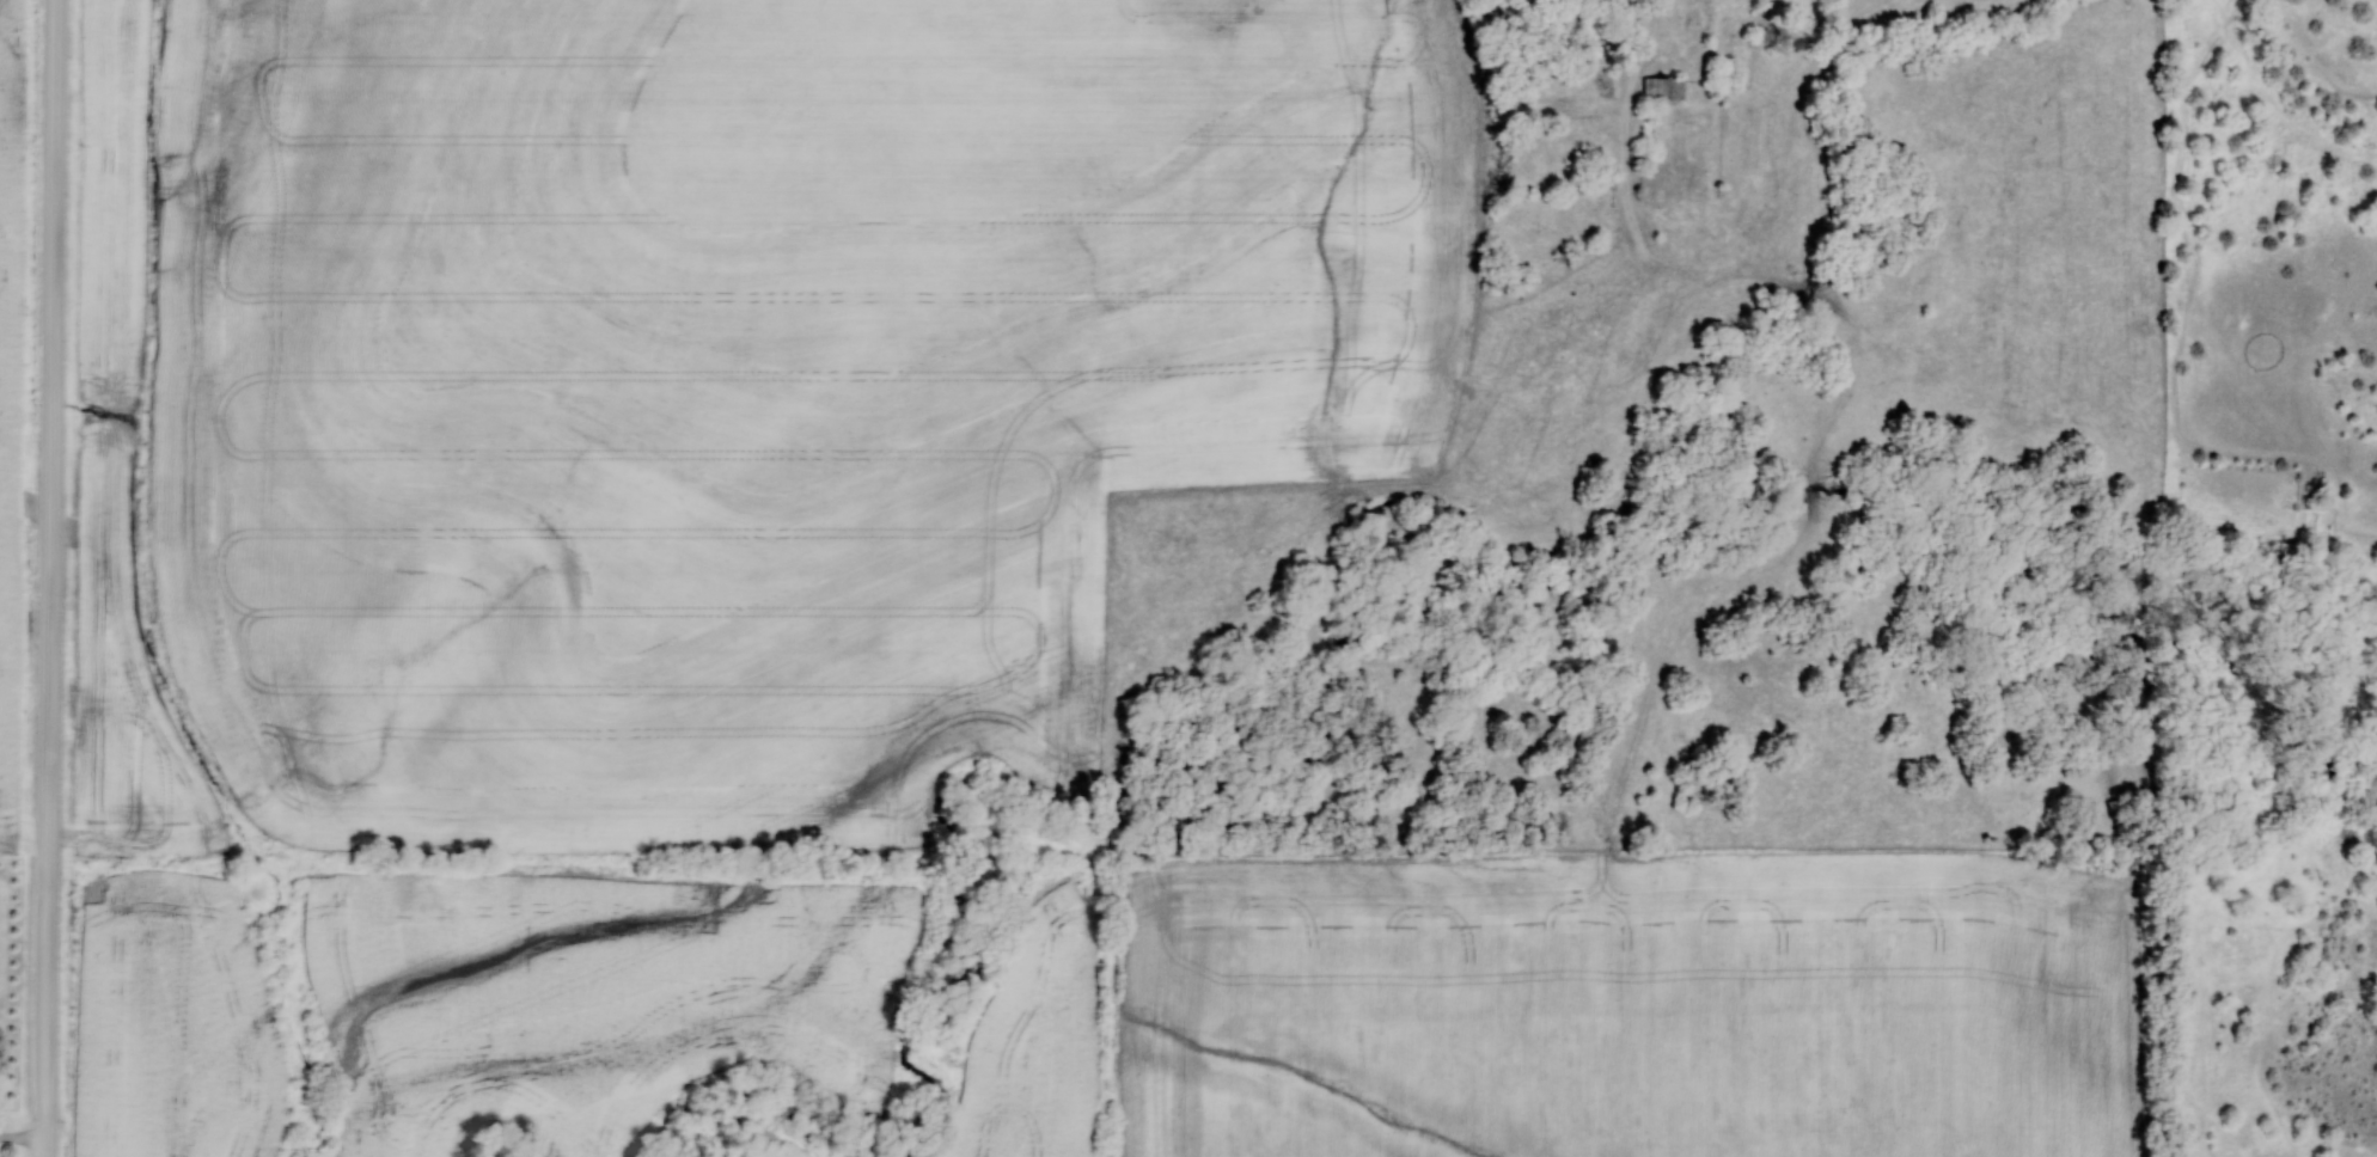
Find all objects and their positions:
building: (1701, 14)
building: (1740, 51)
building: (1666, 87)
building: (1596, 185)
building: (2320, 502)
road: (50, 578)

